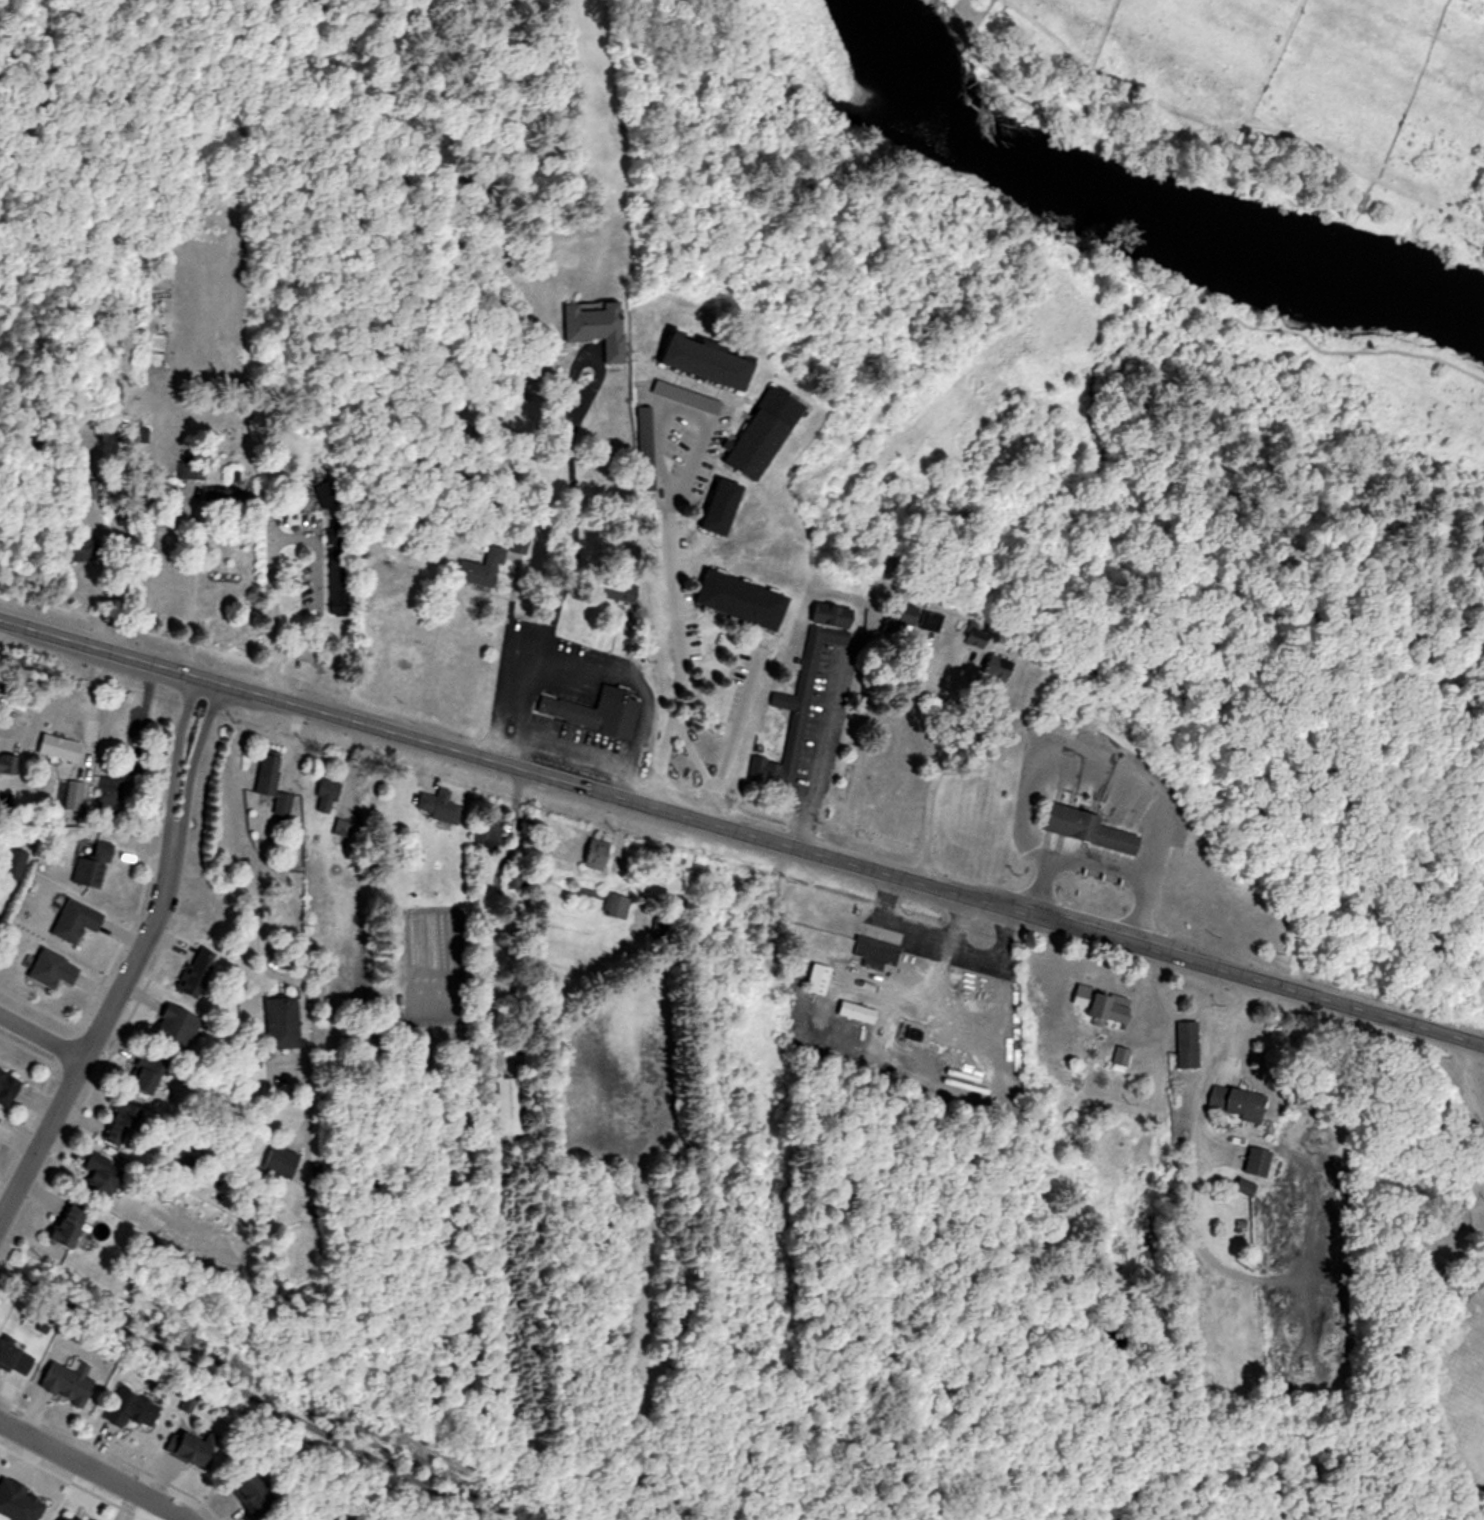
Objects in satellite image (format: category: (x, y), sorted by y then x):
river: (1131, 194)
building: (600, 326)
building: (714, 362)
building: (690, 397)
building: (647, 430)
building: (768, 433)
road: (572, 449)
building: (192, 469)
building: (331, 498)
building: (728, 507)
road: (295, 540)
building: (485, 568)
building: (339, 581)
road: (180, 586)
building: (747, 601)
building: (909, 614)
road: (679, 627)
building: (976, 633)
building: (998, 666)
building: (812, 685)
road: (529, 699)
building: (587, 705)
road: (734, 729)
road: (3, 739)
building: (63, 748)
road: (818, 759)
building: (7, 765)
road: (702, 770)
road: (923, 773)
building: (274, 788)
building: (111, 792)
building: (74, 796)
building: (334, 798)
building: (441, 807)
road: (241, 813)
building: (1067, 820)
building: (491, 830)
road: (741, 834)
building: (599, 853)
building: (17, 864)
road: (1099, 868)
building: (93, 869)
building: (620, 905)
building: (0, 920)
building: (78, 920)
road: (916, 928)
road: (988, 949)
building: (878, 953)
road: (133, 963)
building: (55, 968)
building: (192, 972)
building: (822, 977)
building: (276, 1020)
building: (171, 1028)
road: (41, 1036)
building: (1190, 1043)
road: (1205, 1066)
building: (148, 1070)
building: (9, 1087)
road: (1466, 1093)
building: (1238, 1101)
building: (506, 1106)
building: (0, 1117)
building: (121, 1125)
building: (276, 1160)
building: (1260, 1161)
building: (105, 1173)
building: (1249, 1187)
building: (71, 1224)
building: (17, 1356)
building: (70, 1382)
road: (246, 1394)
building: (135, 1409)
building: (192, 1448)
road: (93, 1468)
building: (259, 1495)
building: (75, 1519)

